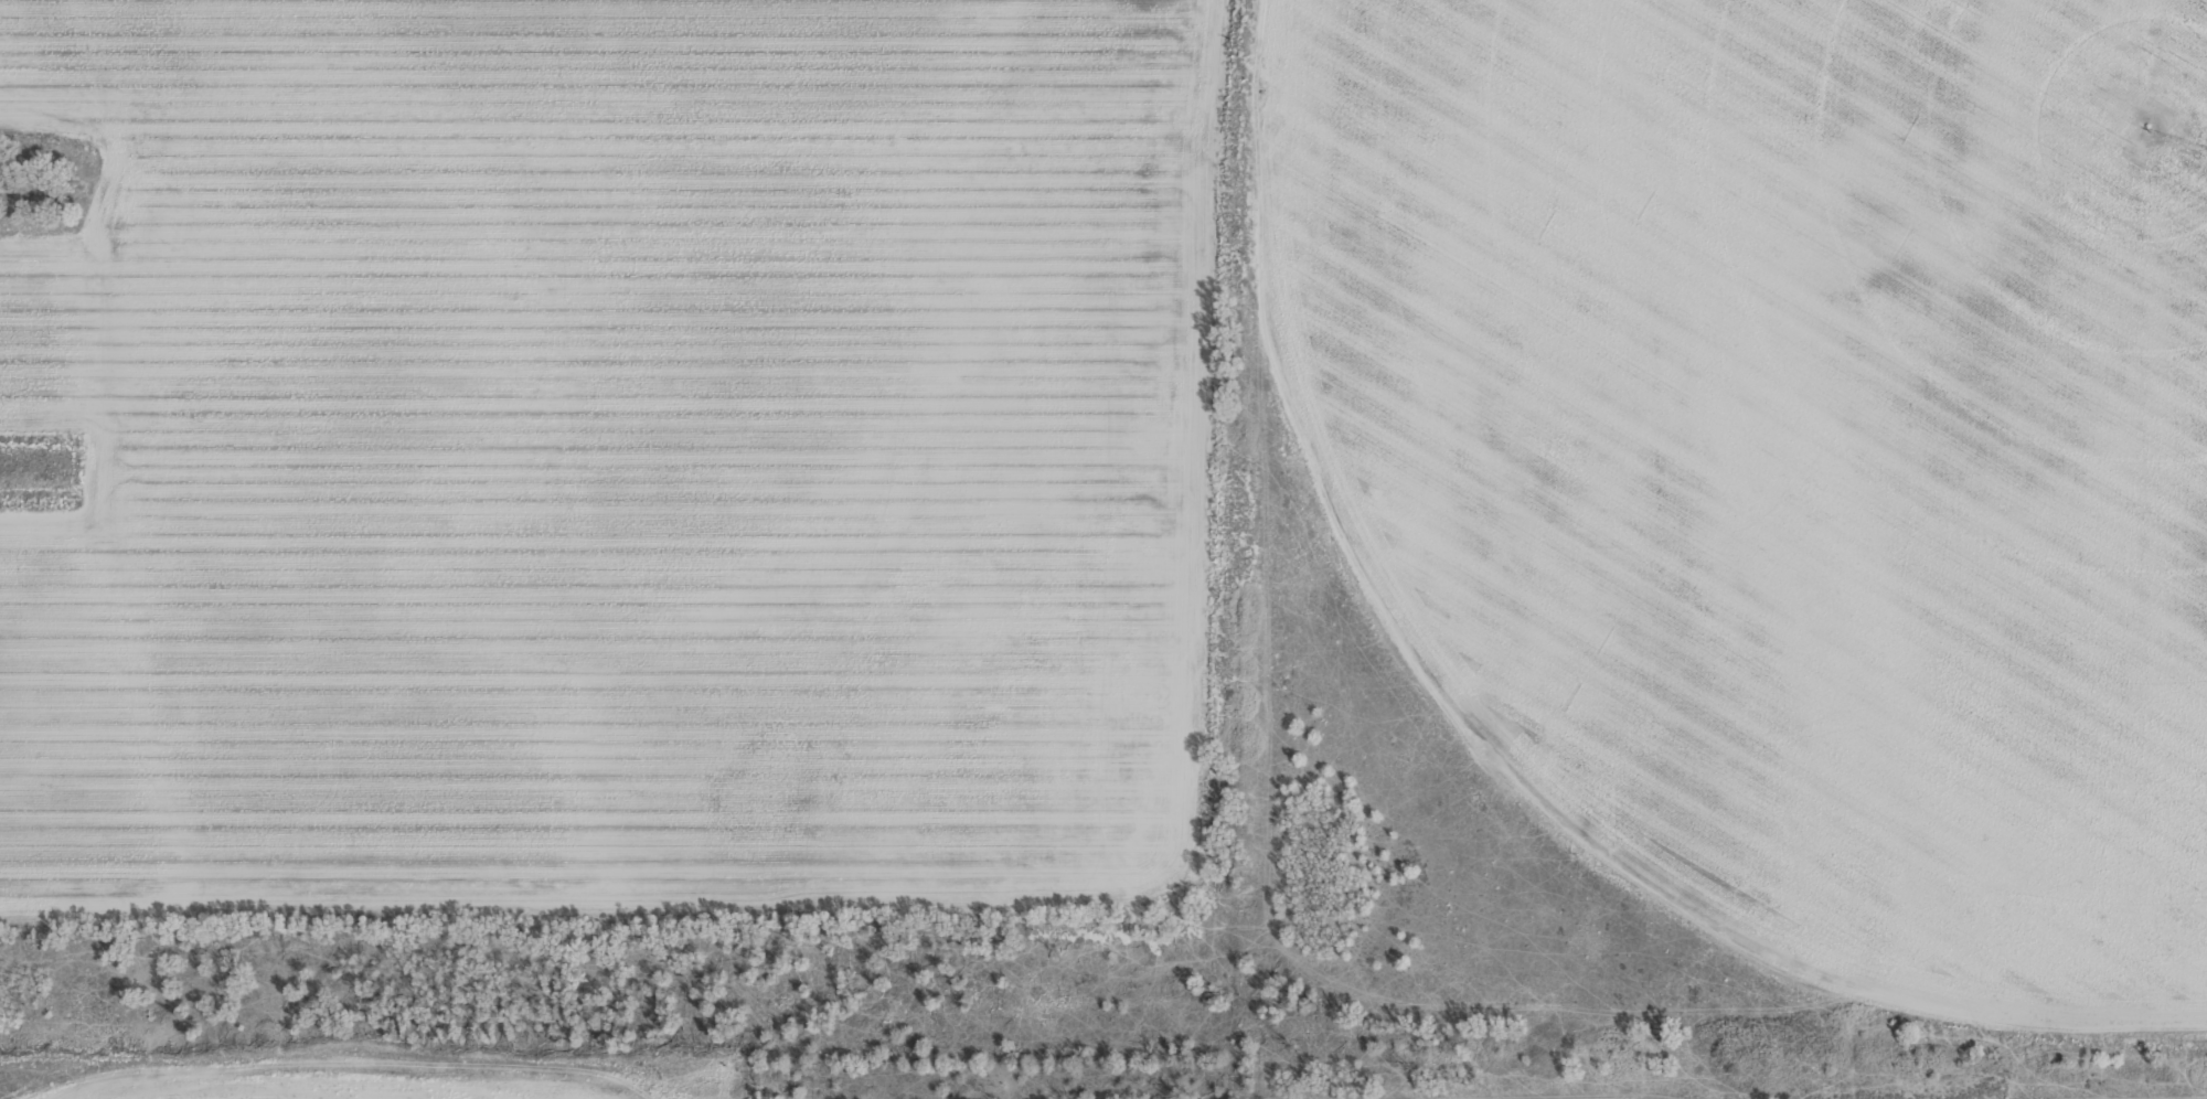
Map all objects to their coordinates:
crop: (1103, 549)
railway: (1719, 551)

